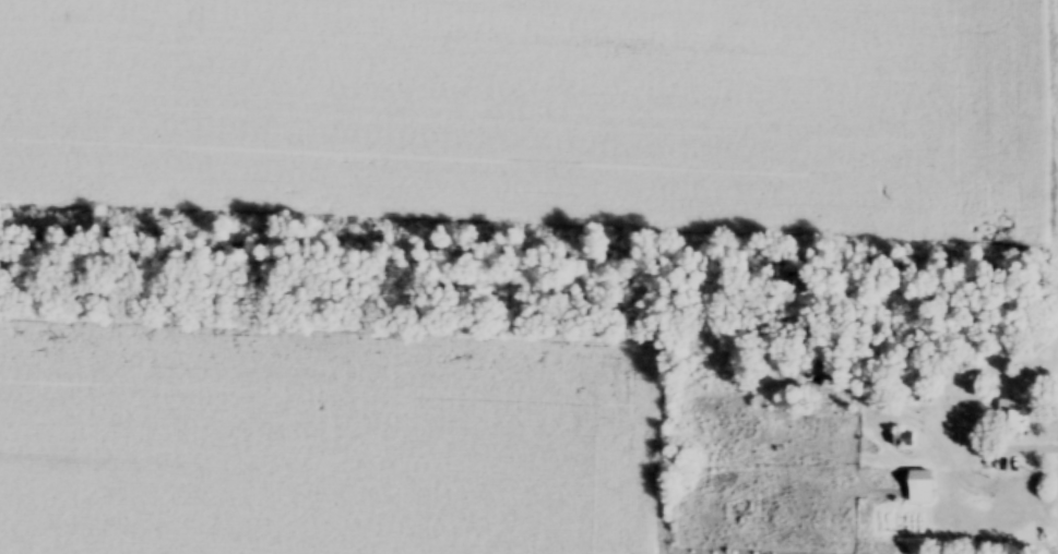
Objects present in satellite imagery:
building: (1010, 422)
building: (902, 441)
building: (920, 487)

